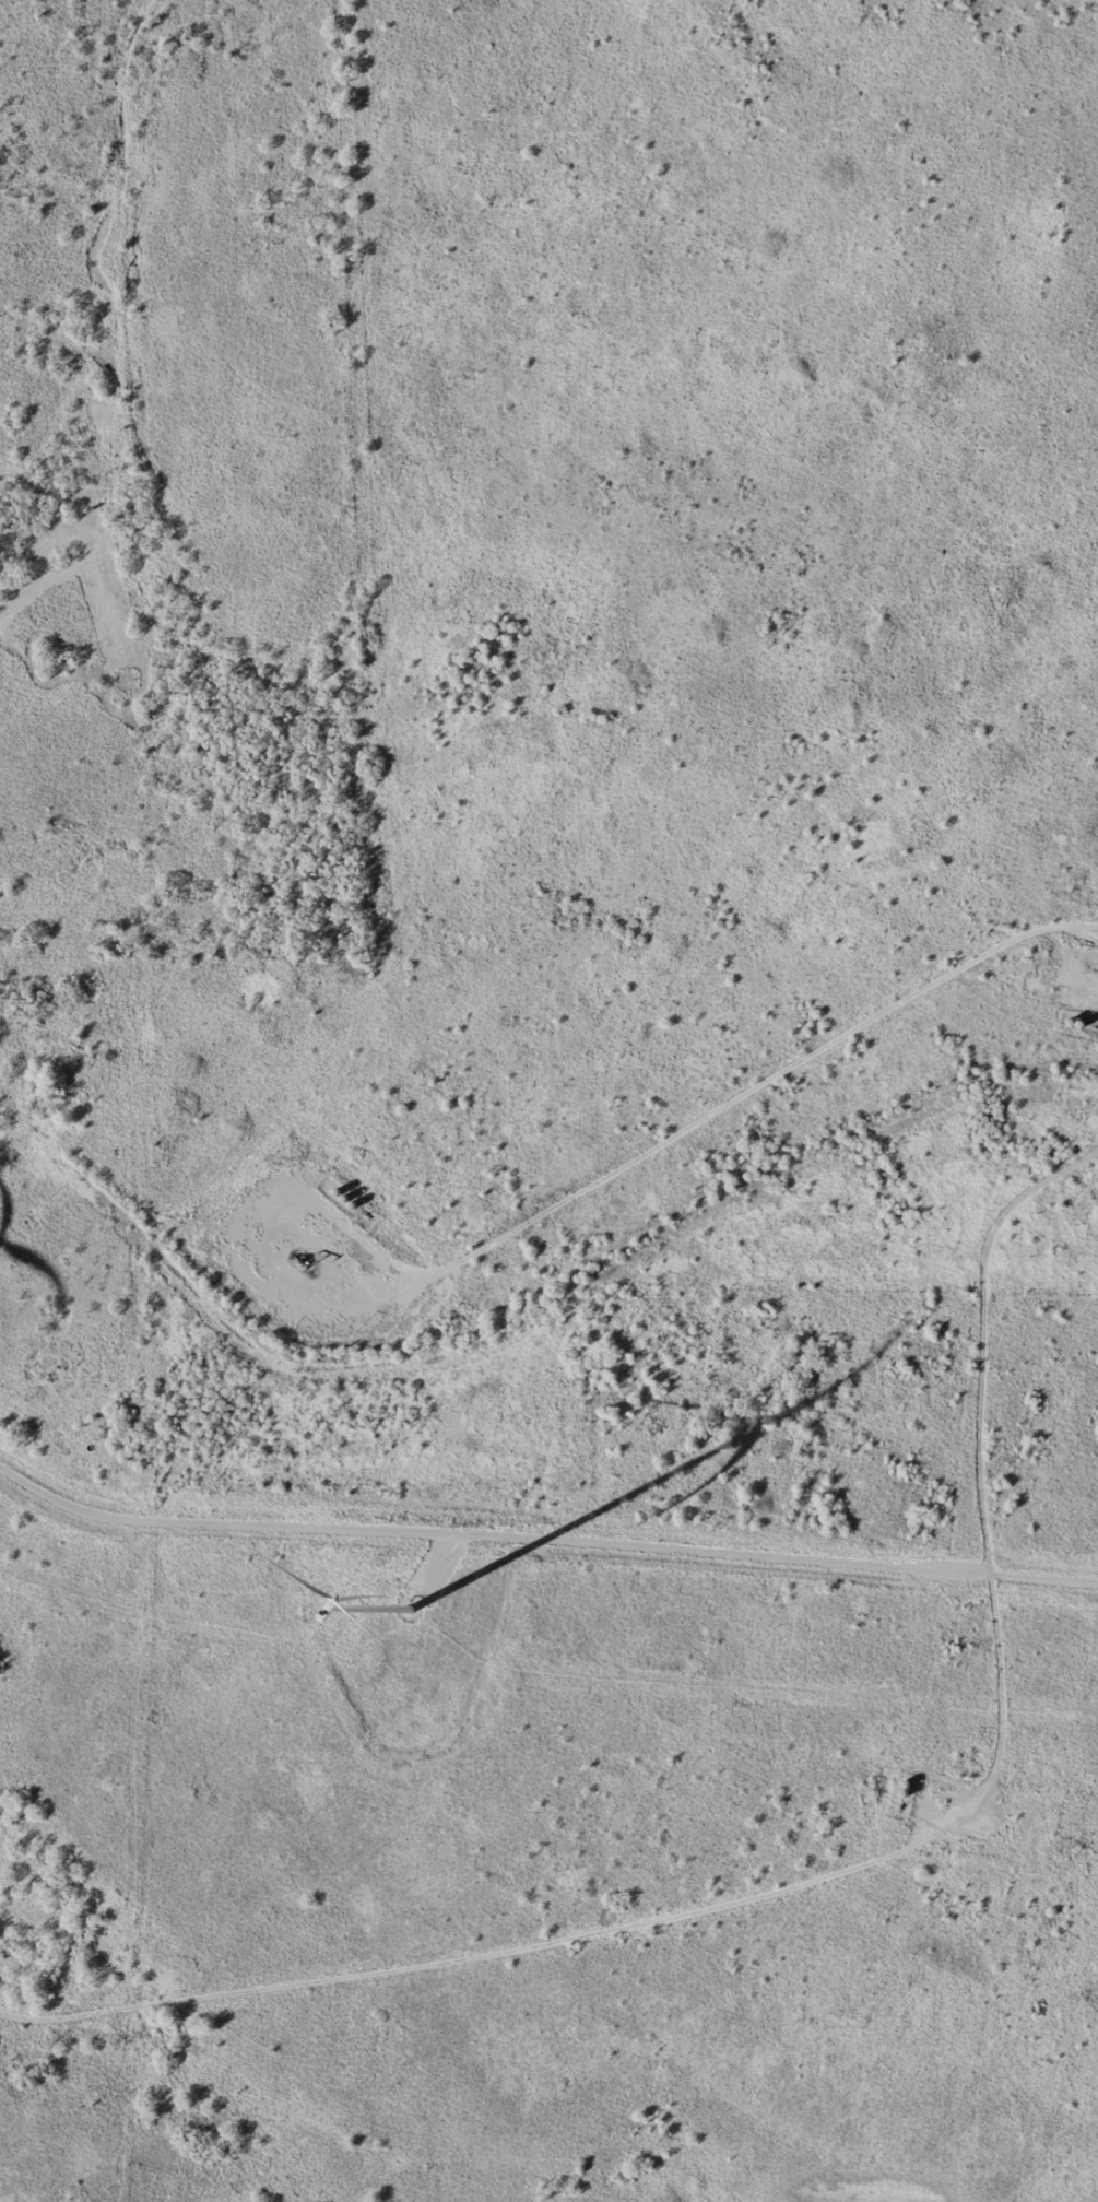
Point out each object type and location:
road: (541, 1540)
wind turbine: (408, 1613)

